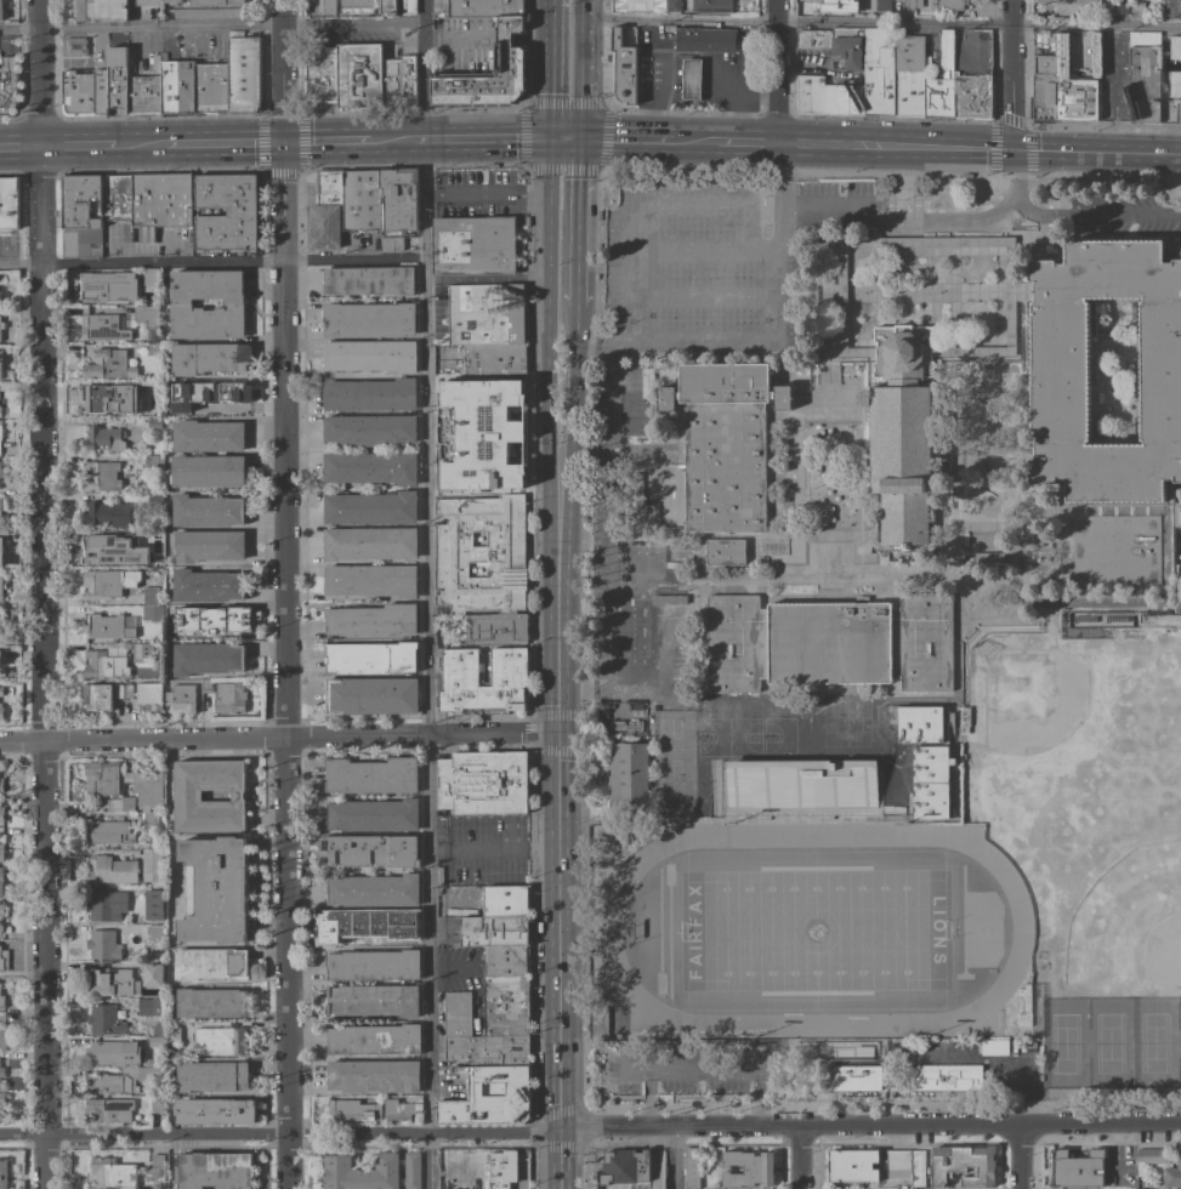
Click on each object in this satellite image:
building: (174, 1)
building: (148, 2)
building: (205, 2)
building: (235, 2)
building: (913, 4)
building: (674, 5)
building: (710, 5)
building: (882, 5)
building: (948, 5)
building: (327, 6)
building: (357, 6)
building: (409, 6)
building: (829, 6)
building: (1120, 6)
building: (387, 7)
building: (483, 7)
building: (1075, 7)
building: (1173, 8)
building: (101, 10)
road: (578, 10)
building: (1, 11)
building: (1137, 11)
building: (205, 13)
road: (879, 27)
building: (669, 28)
road: (210, 29)
road: (454, 35)
building: (704, 40)
road: (649, 41)
building: (74, 44)
building: (835, 45)
building: (1175, 47)
road: (689, 56)
road: (795, 67)
road: (553, 68)
building: (624, 69)
road: (774, 69)
building: (878, 70)
building: (243, 74)
building: (488, 74)
building: (973, 75)
road: (1011, 75)
building: (358, 76)
building: (909, 76)
building: (1145, 76)
road: (578, 79)
building: (691, 79)
building: (941, 80)
building: (117, 83)
building: (1175, 84)
building: (7, 85)
building: (176, 87)
building: (1072, 87)
building: (210, 89)
building: (1043, 91)
road: (1113, 91)
building: (101, 92)
building: (78, 93)
building: (143, 96)
building: (828, 97)
building: (1170, 112)
building: (898, 116)
road: (595, 137)
traffic signals: (553, 138)
road: (558, 138)
road: (570, 138)
traffic signals: (577, 138)
road: (665, 138)
road: (488, 140)
road: (726, 140)
road: (755, 141)
road: (778, 141)
road: (352, 142)
road: (160, 143)
traffic signals: (282, 143)
road: (19, 144)
road: (897, 147)
traffic signals: (1011, 152)
road: (1013, 152)
road: (1098, 152)
road: (1017, 165)
road: (552, 167)
road: (488, 195)
building: (360, 200)
building: (398, 200)
building: (117, 201)
building: (7, 203)
building: (159, 203)
road: (640, 204)
building: (325, 211)
building: (242, 212)
road: (1086, 214)
building: (83, 215)
road: (904, 216)
road: (573, 222)
building: (391, 244)
building: (473, 245)
road: (702, 250)
road: (982, 250)
road: (212, 263)
road: (467, 275)
road: (529, 275)
building: (152, 278)
building: (369, 281)
road: (901, 286)
building: (107, 289)
road: (925, 289)
road: (922, 291)
road: (785, 292)
building: (839, 295)
road: (702, 296)
building: (181, 306)
building: (486, 313)
building: (368, 319)
building: (148, 320)
road: (779, 322)
road: (570, 324)
building: (1, 325)
building: (101, 326)
road: (550, 337)
road: (592, 342)
building: (153, 349)
road: (635, 349)
road: (745, 354)
building: (370, 355)
building: (210, 359)
building: (493, 359)
building: (108, 365)
building: (0, 370)
building: (1060, 371)
building: (369, 396)
building: (102, 397)
building: (220, 398)
building: (154, 409)
building: (170, 409)
road: (569, 410)
building: (634, 414)
building: (154, 423)
building: (369, 431)
building: (897, 432)
building: (0, 434)
building: (208, 436)
building: (103, 439)
building: (722, 445)
road: (643, 453)
building: (151, 462)
building: (370, 468)
building: (208, 471)
building: (1, 474)
building: (101, 477)
building: (642, 485)
building: (154, 499)
building: (1, 505)
building: (370, 508)
building: (206, 511)
building: (107, 514)
building: (643, 514)
road: (617, 516)
road: (950, 540)
building: (369, 544)
building: (208, 546)
building: (115, 550)
building: (1, 552)
building: (723, 552)
building: (481, 554)
road: (655, 557)
road: (907, 573)
building: (370, 581)
building: (102, 584)
building: (1, 585)
road: (556, 585)
building: (206, 586)
road: (42, 593)
road: (283, 594)
road: (426, 594)
building: (151, 596)
building: (666, 599)
building: (152, 613)
building: (1079, 616)
building: (0, 618)
building: (212, 621)
building: (371, 621)
building: (108, 627)
building: (495, 628)
building: (829, 643)
building: (140, 650)
building: (370, 658)
building: (206, 659)
road: (658, 662)
building: (104, 666)
building: (0, 667)
road: (955, 675)
building: (460, 678)
building: (206, 685)
building: (1, 692)
building: (118, 692)
building: (127, 692)
road: (574, 692)
road: (631, 692)
building: (370, 695)
building: (148, 696)
building: (97, 698)
building: (181, 698)
building: (229, 698)
park: (1043, 701)
building: (636, 706)
road: (556, 710)
building: (0, 712)
building: (602, 719)
park: (833, 722)
park: (857, 722)
building: (915, 724)
building: (625, 726)
traffic signals: (556, 729)
road: (278, 735)
park: (727, 735)
park: (778, 735)
park: (674, 757)
building: (370, 776)
building: (628, 776)
building: (101, 779)
building: (926, 781)
building: (483, 784)
building: (799, 784)
building: (1, 785)
building: (147, 786)
building: (187, 796)
building: (127, 804)
building: (114, 806)
building: (1, 810)
building: (373, 815)
building: (149, 819)
building: (108, 832)
track: (830, 834)
road: (494, 849)
building: (369, 850)
building: (1, 853)
building: (151, 861)
building: (109, 871)
building: (1, 882)
building: (215, 889)
building: (374, 891)
building: (505, 901)
building: (152, 905)
building: (106, 906)
building: (1, 911)
building: (357, 925)
track: (1021, 926)
building: (0, 928)
track: (607, 928)
road: (556, 929)
park: (813, 929)
building: (413, 931)
building: (494, 931)
building: (154, 934)
park: (1151, 943)
building: (102, 945)
building: (4, 961)
building: (507, 961)
building: (209, 963)
building: (374, 966)
building: (153, 975)
building: (110, 983)
building: (374, 1000)
building: (1, 1002)
building: (210, 1003)
building: (149, 1007)
building: (493, 1009)
road: (21, 1017)
building: (104, 1020)
building: (600, 1023)
track: (813, 1023)
building: (170, 1031)
building: (1, 1036)
building: (374, 1040)
building: (221, 1041)
building: (155, 1042)
park: (1154, 1042)
park: (1063, 1043)
park: (1108, 1043)
building: (993, 1047)
building: (490, 1049)
building: (113, 1053)
road: (999, 1062)
road: (675, 1068)
building: (1, 1073)
building: (146, 1074)
building: (374, 1076)
building: (211, 1077)
building: (948, 1077)
building: (857, 1079)
building: (108, 1085)
building: (490, 1098)
building: (1, 1099)
building: (157, 1105)
building: (402, 1108)
building: (108, 1110)
building: (354, 1110)
building: (214, 1111)
building: (0, 1116)
road: (868, 1123)
traffic signals: (557, 1130)
road: (142, 1132)
road: (357, 1132)
road: (493, 1132)
road: (1017, 1155)
road: (674, 1156)
road: (797, 1156)
building: (1151, 1157)
road: (557, 1159)
building: (158, 1160)
building: (897, 1164)
building: (852, 1166)
building: (964, 1166)
building: (481, 1168)
building: (689, 1168)
building: (748, 1168)
building: (918, 1168)
building: (1077, 1168)
building: (624, 1170)
building: (214, 1171)
building: (373, 1172)
building: (1129, 1172)
building: (1173, 1172)
building: (4, 1173)
building: (112, 1173)
building: (154, 1173)

